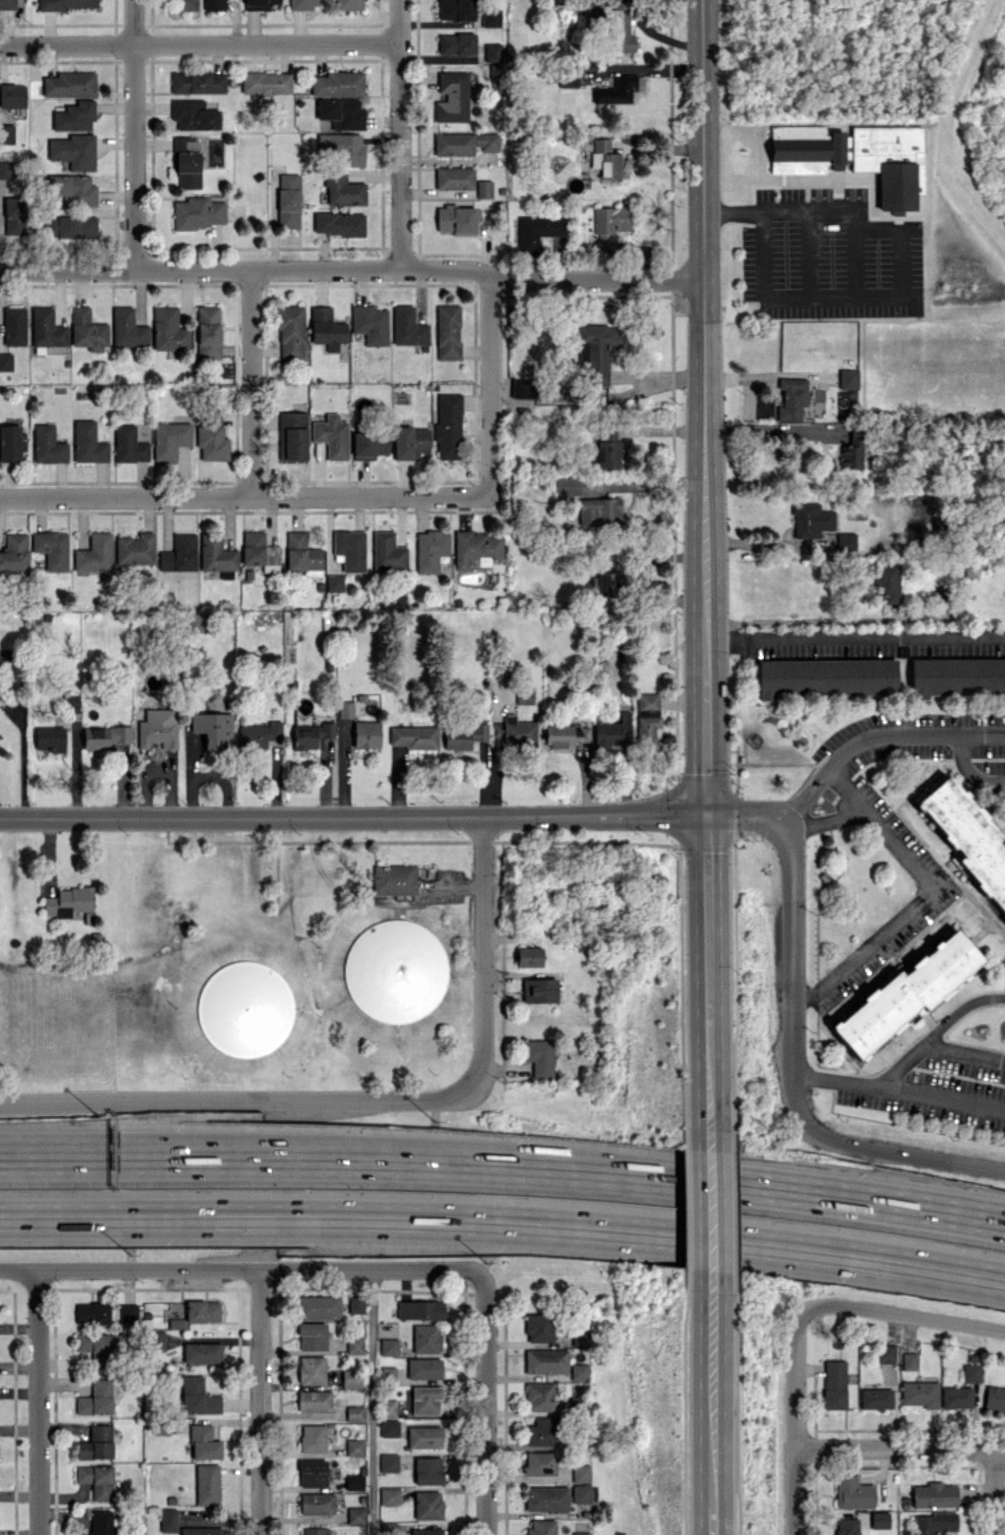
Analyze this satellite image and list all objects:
building: (455, 9)
building: (491, 17)
building: (620, 28)
road: (200, 43)
building: (456, 43)
building: (492, 51)
building: (568, 77)
building: (615, 90)
building: (452, 97)
road: (400, 133)
road: (134, 134)
building: (463, 143)
building: (858, 156)
building: (605, 159)
building: (454, 178)
building: (483, 189)
building: (456, 219)
building: (609, 223)
building: (538, 230)
road: (352, 267)
road: (897, 274)
building: (448, 332)
building: (596, 350)
building: (848, 378)
road: (487, 382)
road: (253, 383)
building: (522, 388)
building: (562, 390)
building: (791, 399)
road: (702, 408)
building: (448, 426)
road: (767, 431)
building: (608, 449)
building: (852, 449)
building: (567, 486)
road: (244, 499)
building: (599, 511)
building: (811, 519)
building: (846, 542)
road: (754, 543)
building: (477, 548)
building: (887, 581)
building: (609, 584)
road: (853, 630)
building: (957, 676)
building: (827, 677)
building: (524, 695)
building: (647, 719)
building: (518, 731)
building: (613, 731)
building: (565, 734)
building: (465, 736)
road: (879, 736)
road: (971, 769)
road: (742, 815)
traffic signals: (703, 817)
road: (351, 818)
road: (823, 820)
building: (967, 837)
building: (393, 879)
road: (918, 897)
building: (529, 956)
road: (487, 957)
building: (394, 970)
storage tank: (394, 970)
road: (704, 972)
building: (540, 990)
building: (906, 993)
building: (245, 1009)
storage tank: (245, 1009)
road: (934, 1032)
road: (962, 1052)
building: (540, 1057)
road: (795, 1072)
road: (900, 1092)
road: (232, 1099)
road: (137, 1155)
road: (641, 1174)
road: (504, 1223)
road: (705, 1226)
road: (240, 1269)
road: (903, 1313)
building: (540, 1327)
building: (581, 1337)
building: (426, 1338)
building: (887, 1353)
building: (547, 1360)
building: (909, 1360)
building: (424, 1368)
building: (580, 1371)
building: (971, 1373)
building: (835, 1384)
building: (921, 1393)
building: (540, 1396)
building: (957, 1397)
building: (877, 1398)
building: (426, 1399)
building: (995, 1399)
road: (372, 1401)
road: (36, 1402)
road: (259, 1402)
road: (485, 1404)
road: (794, 1422)
road: (706, 1429)
building: (542, 1432)
building: (425, 1436)
road: (899, 1446)
building: (540, 1463)
building: (428, 1470)
building: (582, 1473)
building: (854, 1492)
road: (993, 1492)
building: (581, 1493)
building: (934, 1495)
building: (547, 1498)
building: (428, 1505)
building: (880, 1519)
building: (935, 1523)
building: (847, 1526)
building: (542, 1527)
building: (425, 1531)
building: (581, 1533)

